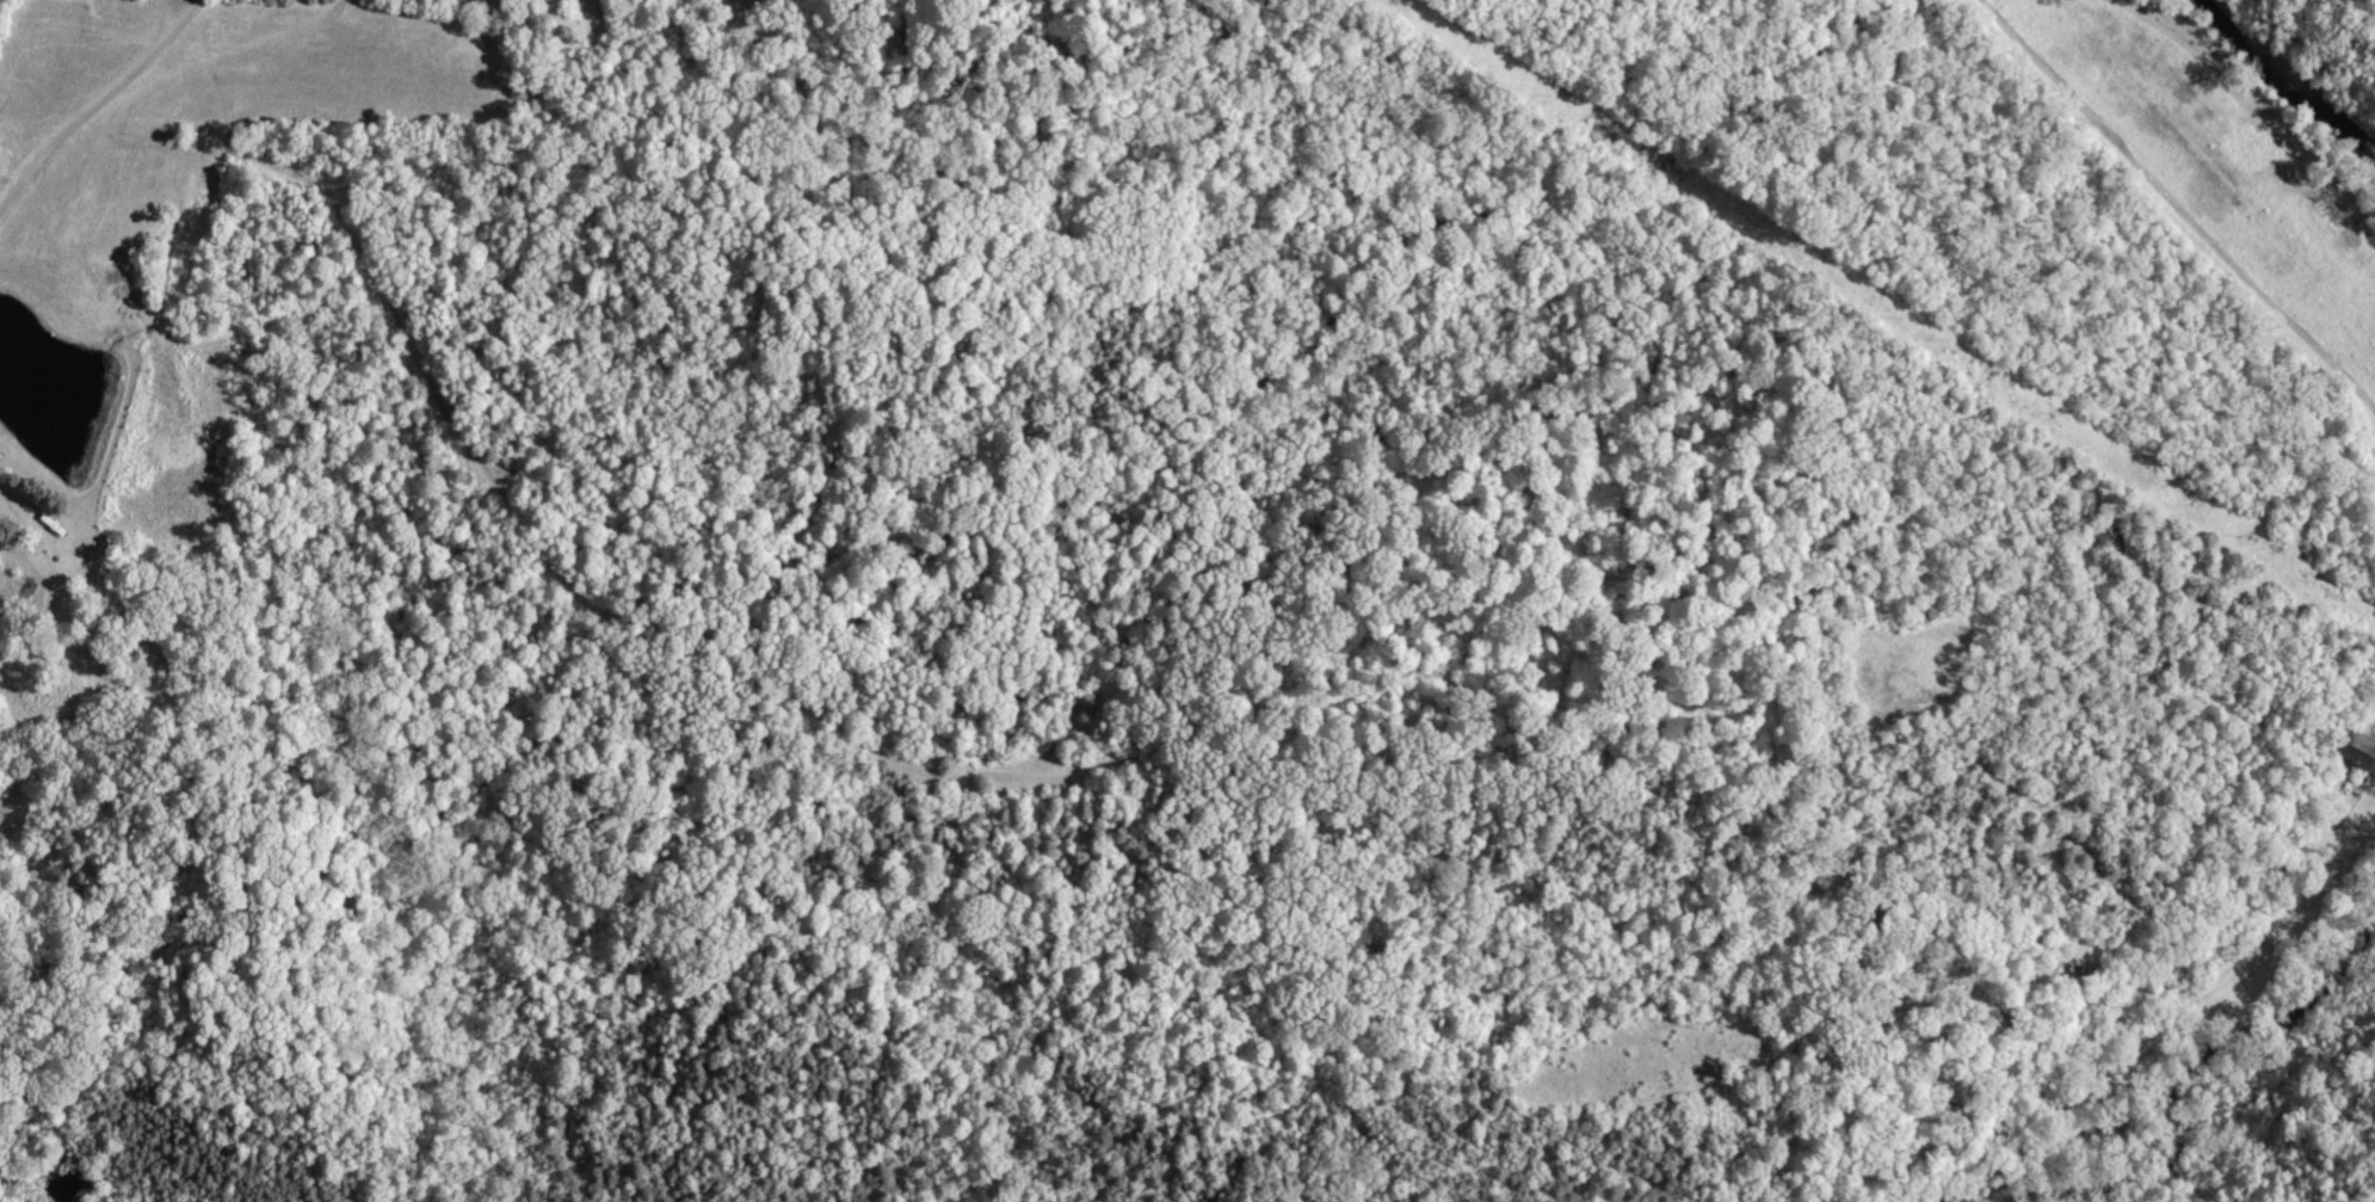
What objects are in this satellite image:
road: (2265, 101)
building: (2357, 748)

